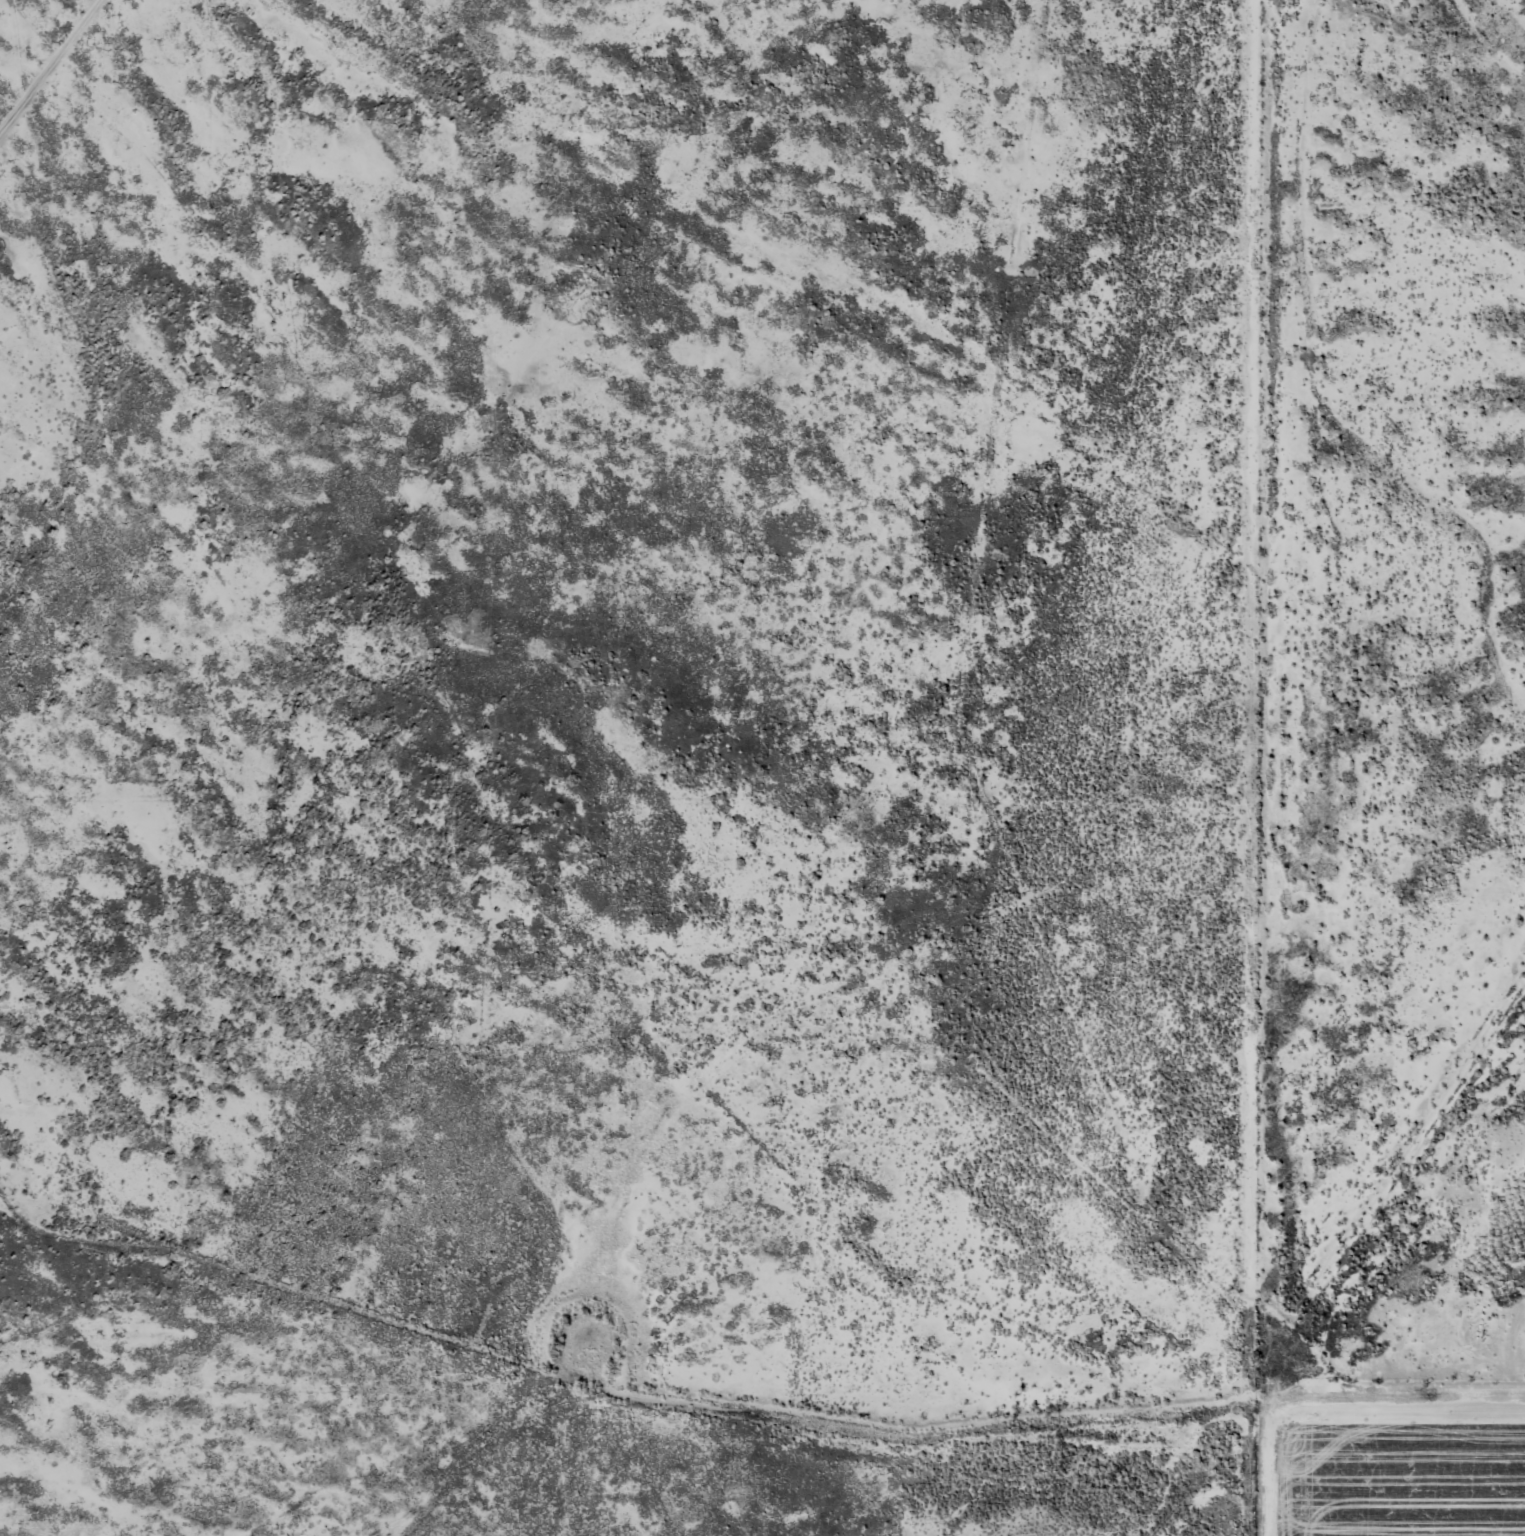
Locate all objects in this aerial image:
road: (1419, 1450)

